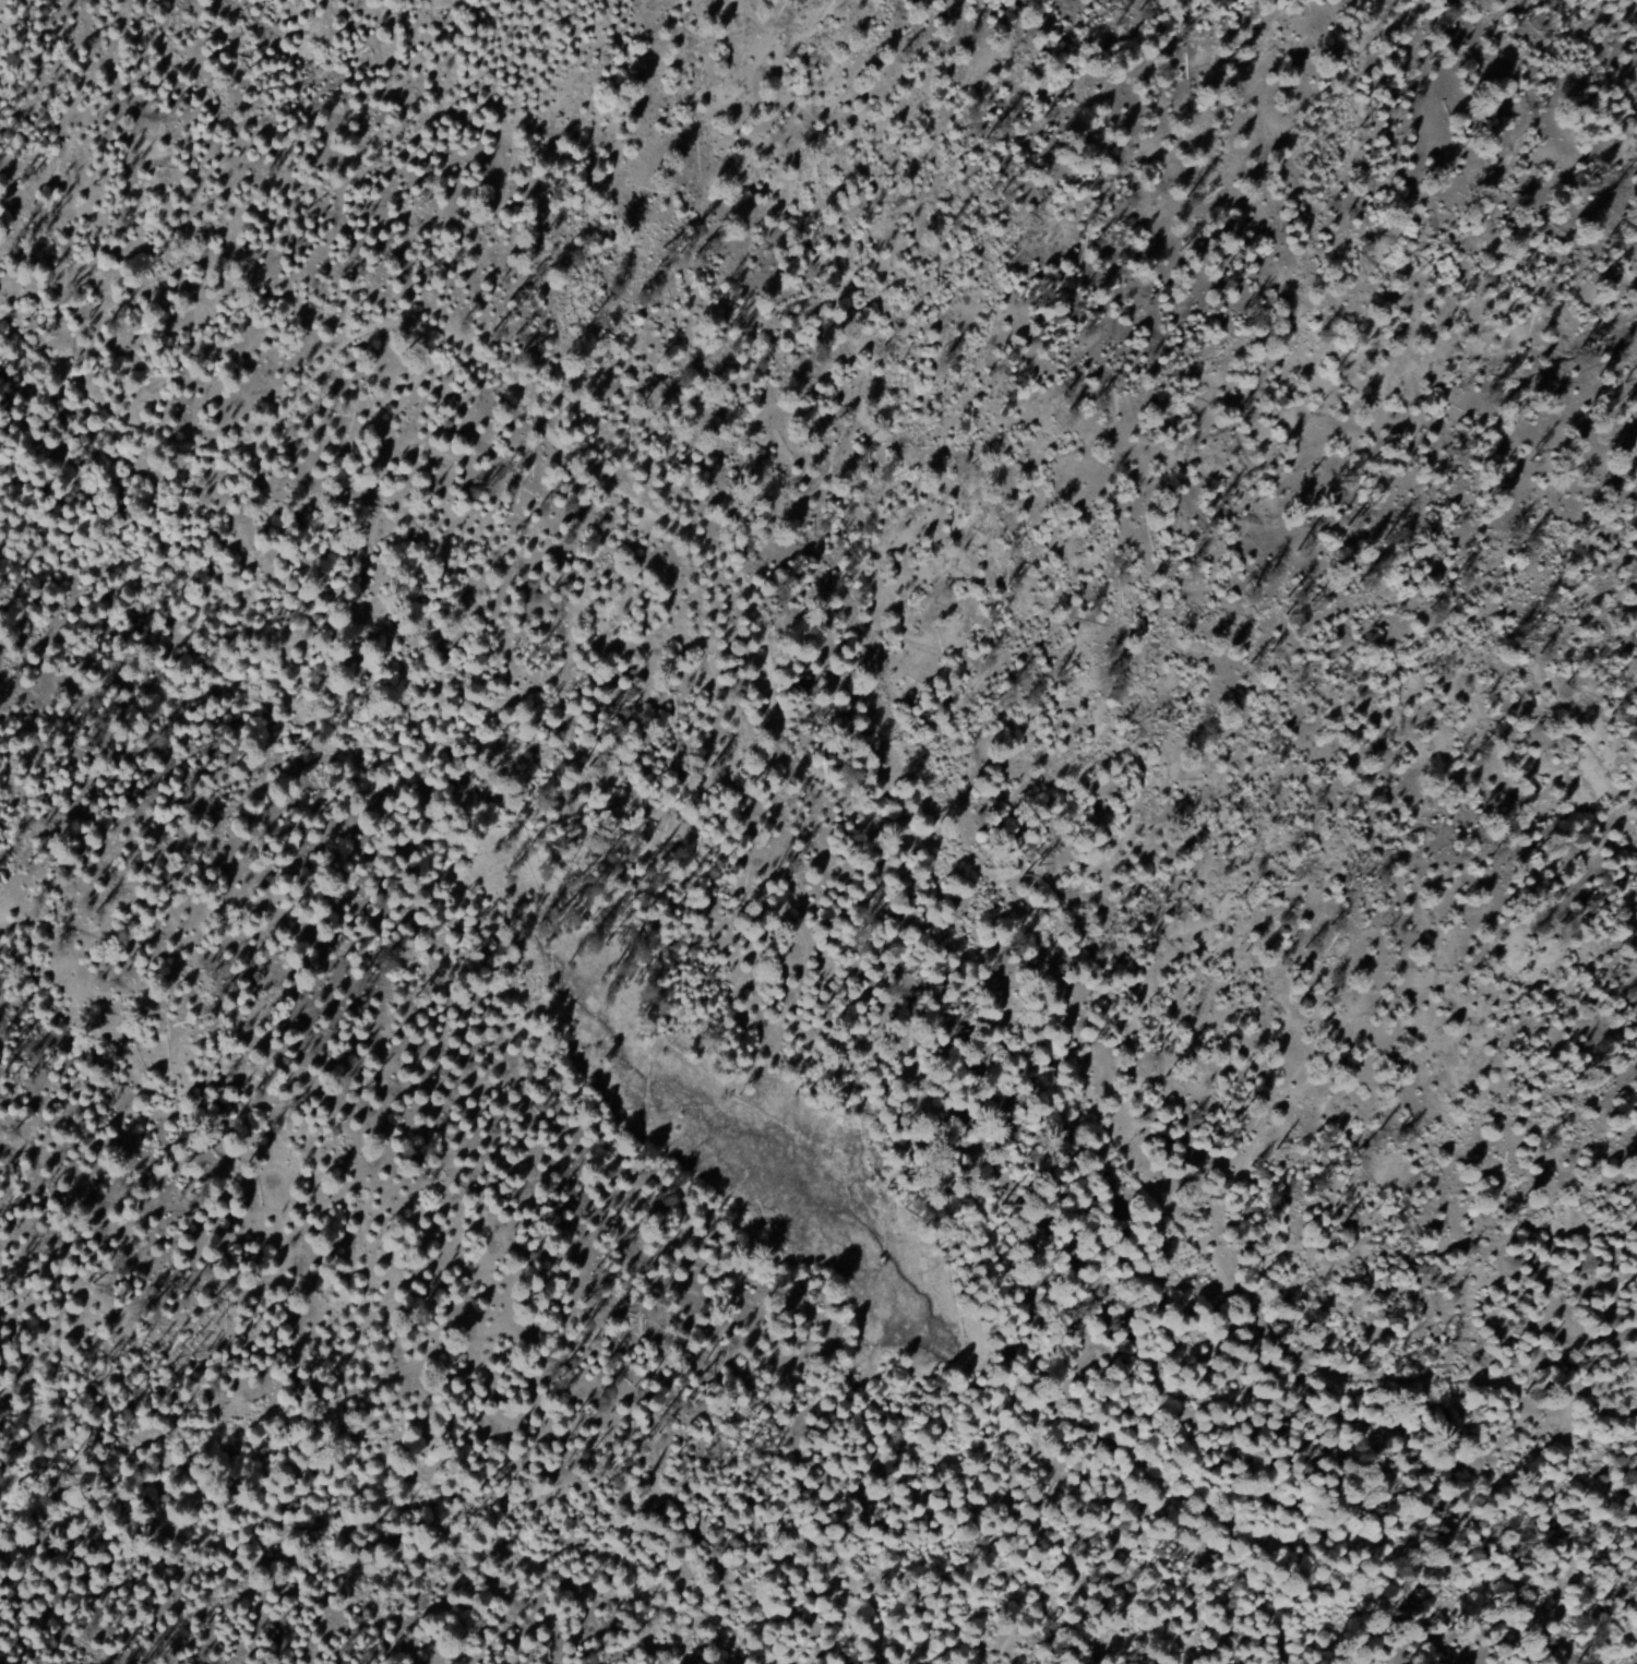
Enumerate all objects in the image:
road: (812, 779)

